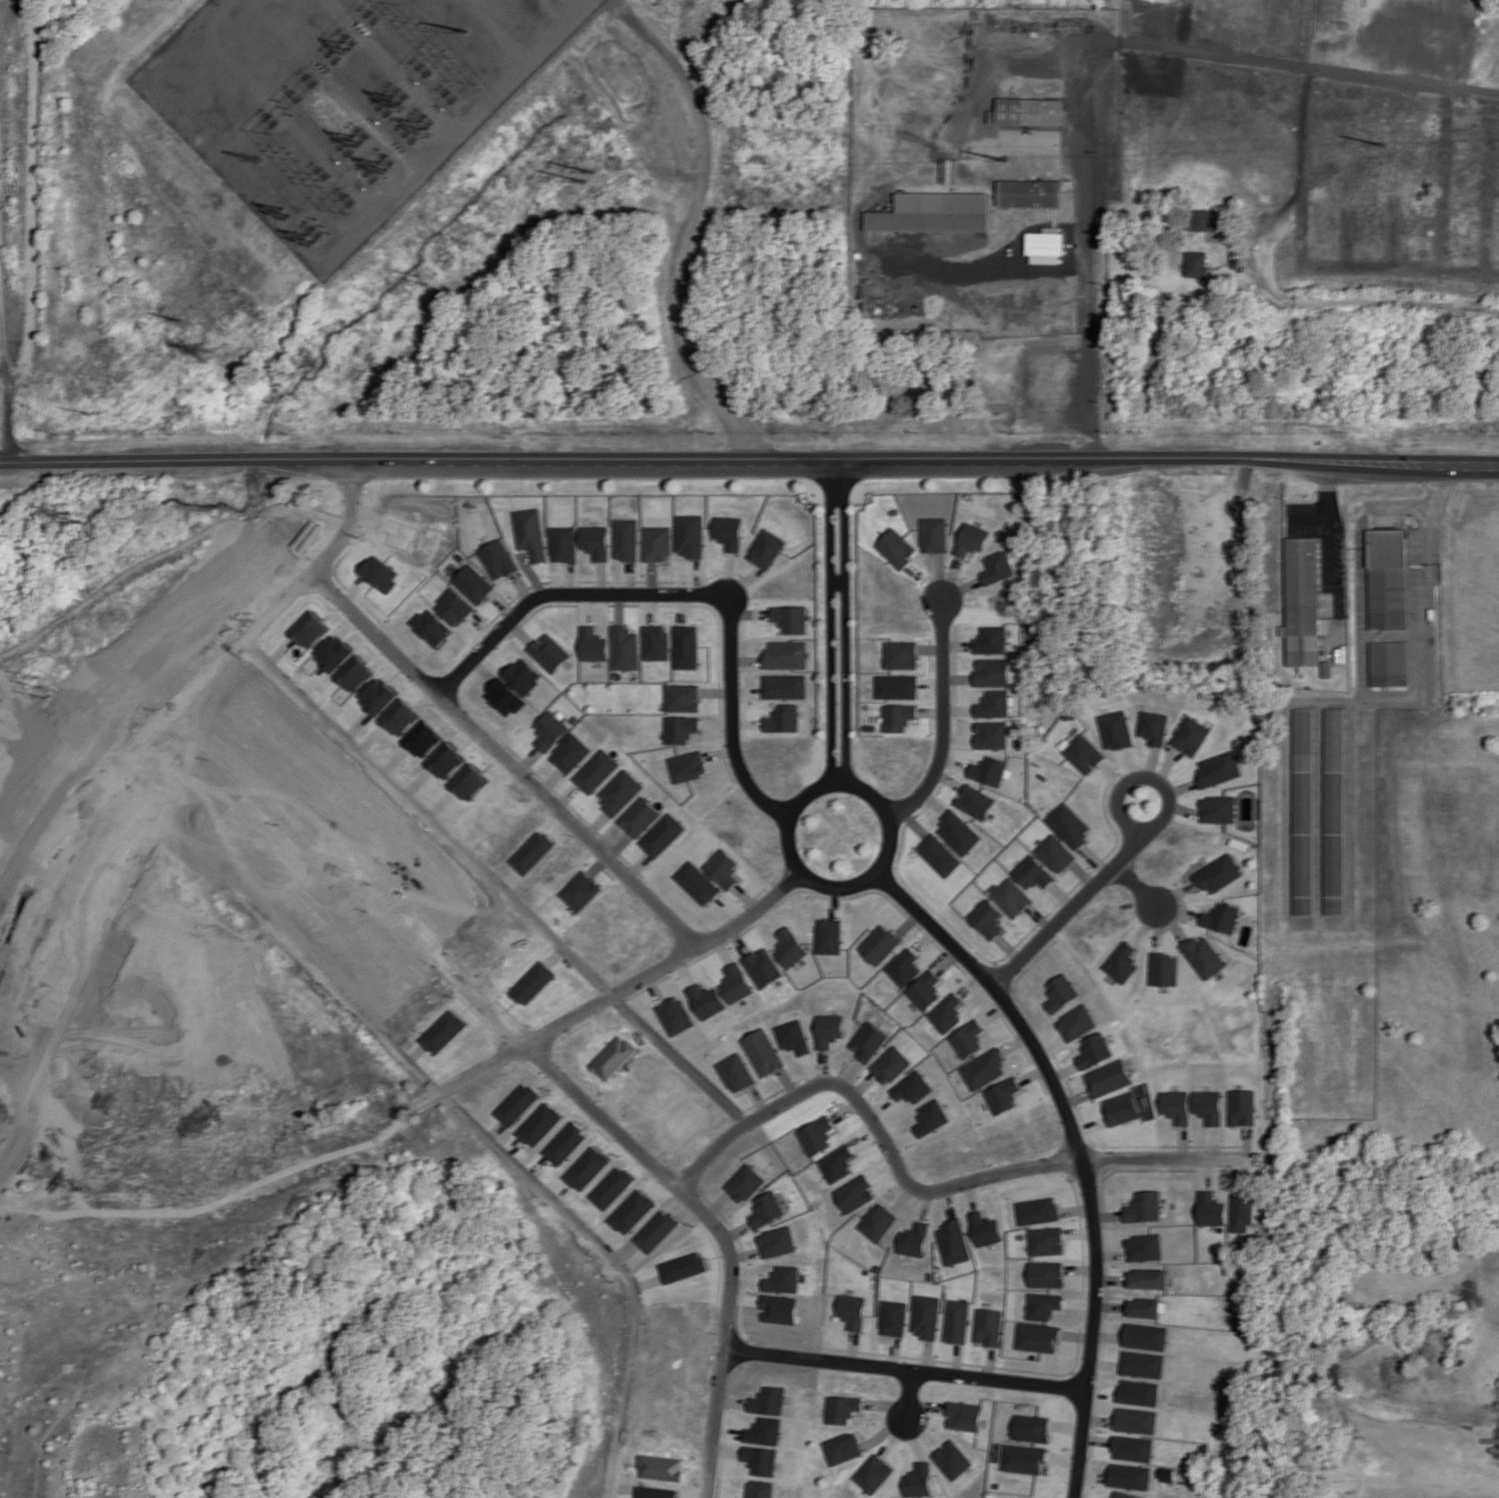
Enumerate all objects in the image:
road: (1081, 50)
road: (1213, 55)
power substation: (344, 99)
building: (1029, 111)
road: (1082, 136)
power tower: (1385, 147)
power tower: (1008, 157)
building: (949, 170)
power tower: (596, 183)
building: (1029, 193)
road: (1282, 208)
building: (934, 212)
power tower: (284, 214)
building: (1199, 220)
power tower: (306, 239)
building: (1046, 245)
building: (1197, 264)
power tower: (422, 281)
power tower: (175, 318)
power tower: (200, 351)
power tower: (89, 411)
road: (749, 460)
road: (1327, 505)
power tower: (81, 517)
building: (727, 532)
building: (530, 533)
building: (935, 534)
building: (689, 535)
building: (626, 539)
building: (974, 539)
building: (596, 541)
building: (564, 543)
building: (657, 543)
building: (896, 548)
building: (764, 549)
building: (496, 559)
building: (999, 567)
building: (377, 573)
building: (1387, 579)
road: (836, 580)
building: (472, 583)
road: (562, 593)
building: (1303, 602)
building: (452, 607)
building: (788, 618)
road: (828, 624)
road: (845, 625)
building: (430, 627)
building: (308, 629)
building: (993, 640)
building: (655, 642)
building: (592, 644)
building: (685, 647)
building: (624, 648)
building: (332, 652)
building: (547, 652)
building: (900, 654)
building: (783, 655)
building: (1389, 663)
building: (994, 672)
building: (354, 674)
building: (521, 675)
building: (782, 686)
building: (896, 686)
power tower: (42, 687)
building: (377, 695)
road: (1381, 695)
building: (503, 697)
building: (680, 697)
building: (995, 704)
road: (172, 716)
building: (400, 717)
building: (897, 717)
building: (780, 718)
road: (941, 719)
road: (729, 722)
building: (1153, 727)
building: (678, 729)
building: (1116, 729)
building: (547, 730)
building: (992, 734)
building: (1190, 736)
building: (422, 739)
building: (1084, 752)
building: (568, 753)
road: (503, 759)
building: (444, 760)
building: (684, 766)
building: (1217, 769)
building: (990, 770)
building: (593, 771)
building: (467, 782)
building: (616, 792)
building: (976, 801)
building: (1217, 809)
building: (1302, 811)
building: (1334, 811)
road: (428, 817)
building: (636, 817)
road: (1123, 819)
building: (1070, 825)
building: (958, 832)
building: (659, 835)
building: (529, 852)
building: (1057, 853)
building: (939, 855)
building: (720, 868)
road: (807, 869)
building: (1034, 872)
building: (1218, 873)
building: (694, 883)
road: (1134, 887)
building: (579, 891)
building: (1012, 897)
road: (1069, 909)
building: (1221, 917)
building: (987, 918)
building: (827, 936)
building: (878, 944)
building: (787, 947)
building: (1204, 956)
building: (1124, 962)
building: (760, 967)
building: (902, 967)
building: (1165, 969)
building: (533, 983)
building: (734, 983)
road: (615, 990)
building: (923, 990)
building: (1061, 992)
building: (705, 1001)
building: (946, 1013)
building: (674, 1015)
building: (1077, 1022)
building: (827, 1029)
building: (444, 1031)
building: (791, 1036)
building: (967, 1038)
building: (867, 1041)
building: (1095, 1050)
building: (760, 1052)
road: (676, 1058)
road: (547, 1062)
building: (890, 1064)
building: (983, 1068)
building: (733, 1072)
building: (1109, 1077)
building: (912, 1087)
building: (1002, 1095)
building: (517, 1104)
building: (1176, 1106)
building: (1207, 1106)
building: (1124, 1107)
building: (1240, 1107)
building: (931, 1117)
road: (333, 1122)
building: (540, 1125)
building: (815, 1135)
building: (564, 1143)
road: (1079, 1147)
building: (835, 1163)
building: (585, 1168)
road: (202, 1176)
building: (743, 1183)
building: (609, 1187)
road: (917, 1188)
building: (853, 1193)
building: (1144, 1206)
building: (765, 1209)
building: (1211, 1209)
building: (1037, 1210)
building: (630, 1211)
building: (1243, 1211)
building: (877, 1222)
building: (985, 1229)
building: (654, 1231)
building: (913, 1240)
building: (775, 1241)
building: (1046, 1241)
building: (953, 1242)
building: (1144, 1247)
road: (612, 1263)
building: (680, 1267)
building: (1046, 1274)
building: (1148, 1278)
building: (781, 1279)
building: (1043, 1305)
building: (1144, 1307)
building: (777, 1309)
building: (849, 1311)
building: (924, 1316)
building: (891, 1318)
building: (955, 1321)
building: (988, 1326)
building: (1145, 1336)
building: (1037, 1337)
building: (1142, 1364)
road: (899, 1370)
building: (1139, 1392)
road: (908, 1395)
building: (768, 1400)
building: (840, 1408)
building: (963, 1416)
building: (1136, 1420)
building: (1030, 1428)
building: (764, 1431)
building: (842, 1448)
building: (1133, 1448)
building: (952, 1459)
building: (1023, 1459)
building: (761, 1460)
building: (873, 1473)
building: (1129, 1476)
building: (918, 1480)
building: (760, 1489)
building: (655, 1492)
building: (1125, 1495)

